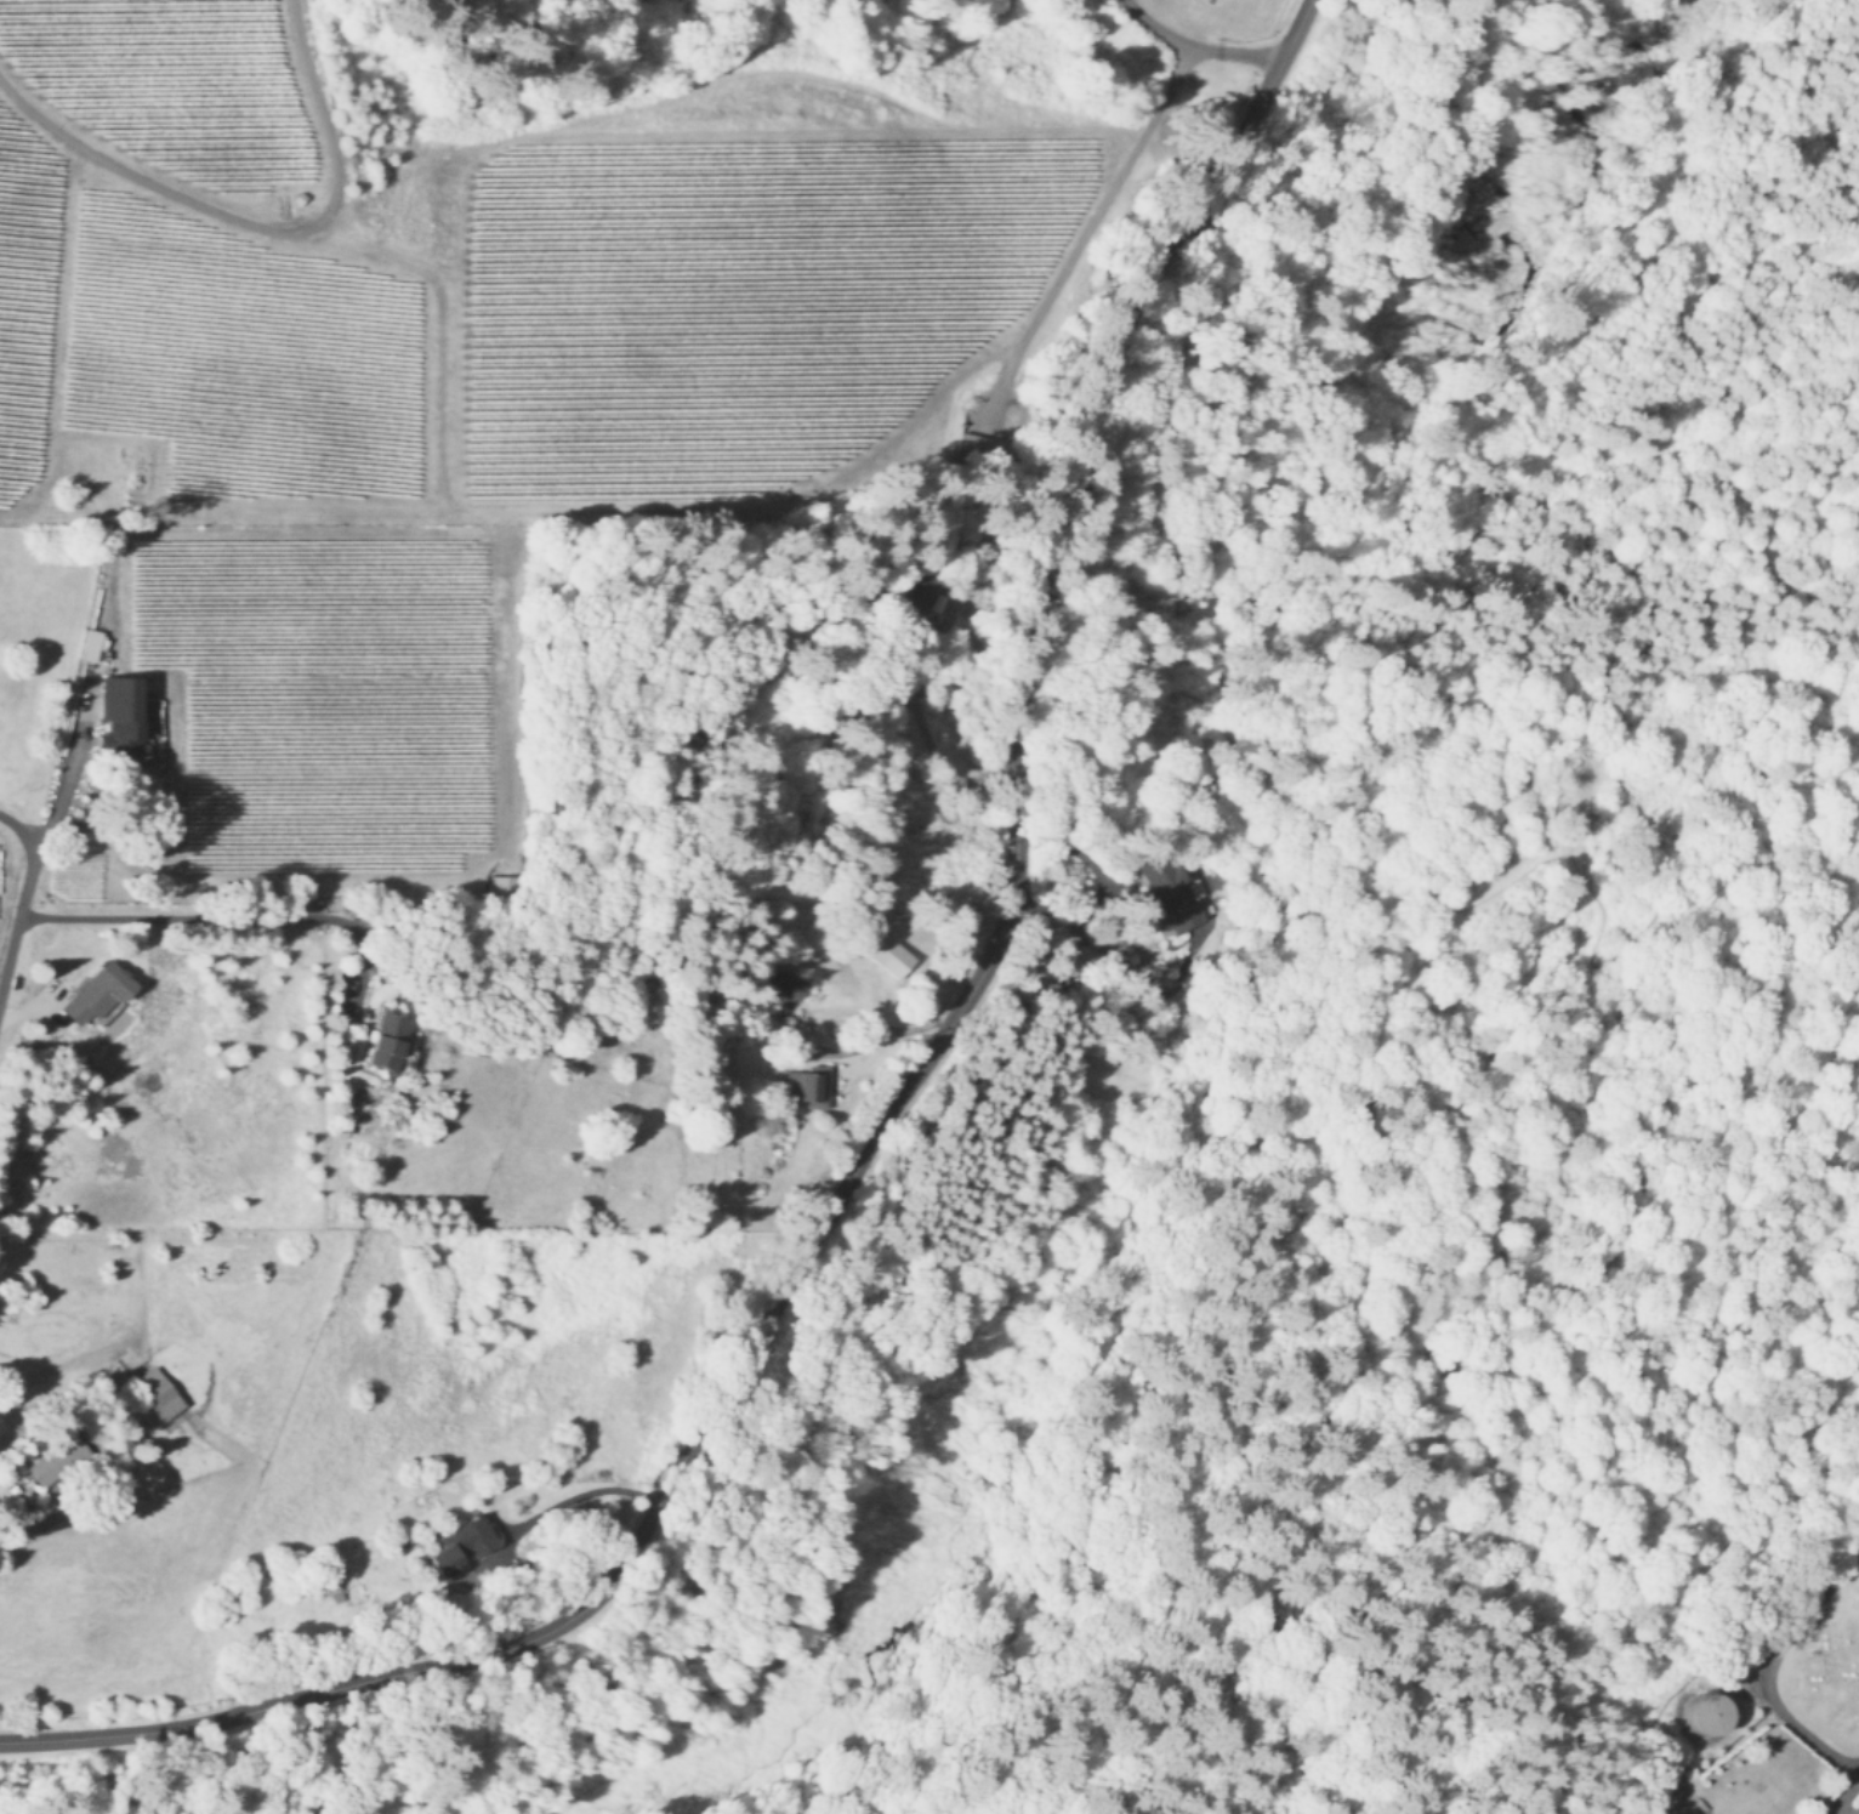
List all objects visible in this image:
road: (1198, 41)
crop: (626, 237)
building: (120, 713)
road: (1658, 718)
road: (938, 732)
road: (58, 795)
road: (18, 832)
road: (1567, 848)
building: (506, 883)
building: (1177, 891)
road: (17, 916)
road: (199, 920)
building: (891, 953)
building: (802, 985)
building: (98, 991)
building: (391, 1039)
building: (809, 1084)
road: (896, 1103)
road: (1368, 1103)
road: (1513, 1131)
crop: (132, 1156)
road: (1510, 1253)
road: (1573, 1269)
road: (1539, 1304)
building: (159, 1391)
building: (59, 1461)
road: (589, 1490)
building: (464, 1543)
road: (1770, 1667)
park: (1826, 1672)
building: (1701, 1716)
road: (1858, 1778)
road: (1842, 1797)

